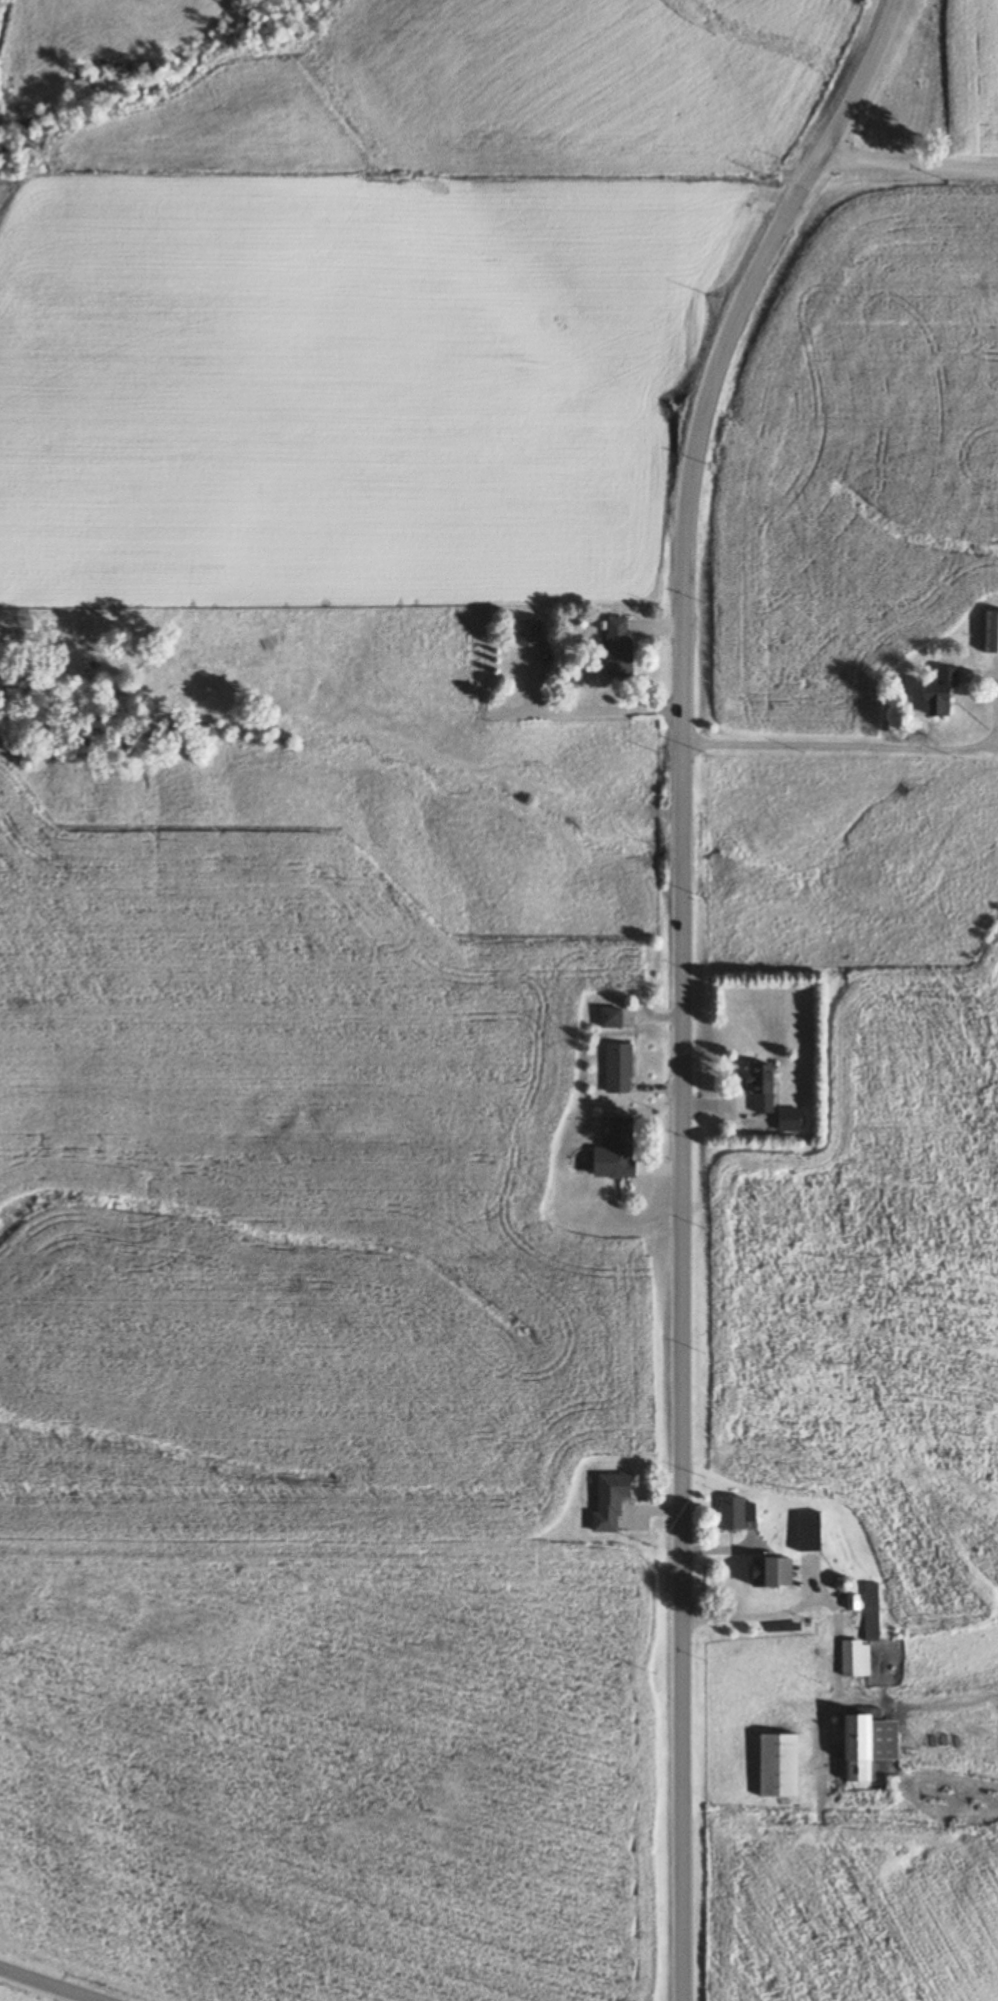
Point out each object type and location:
road: (874, 42)
road: (907, 171)
building: (989, 633)
building: (534, 634)
building: (625, 649)
building: (934, 694)
road: (868, 745)
building: (606, 1018)
road: (684, 1022)
building: (611, 1070)
building: (759, 1089)
building: (785, 1121)
building: (614, 1143)
building: (603, 1503)
building: (730, 1514)
building: (803, 1532)
building: (752, 1573)
building: (849, 1602)
building: (866, 1612)
building: (861, 1748)
building: (775, 1765)
road: (39, 1988)

